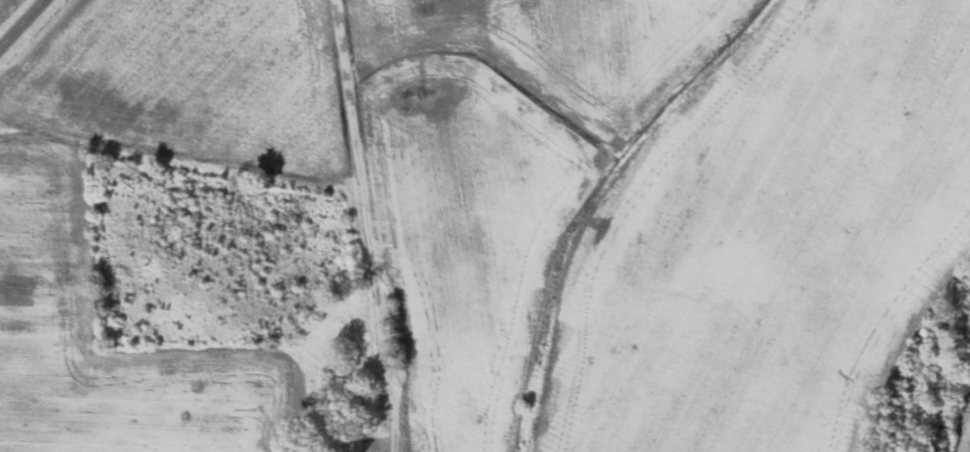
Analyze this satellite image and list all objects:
road: (23, 24)
road: (367, 226)

